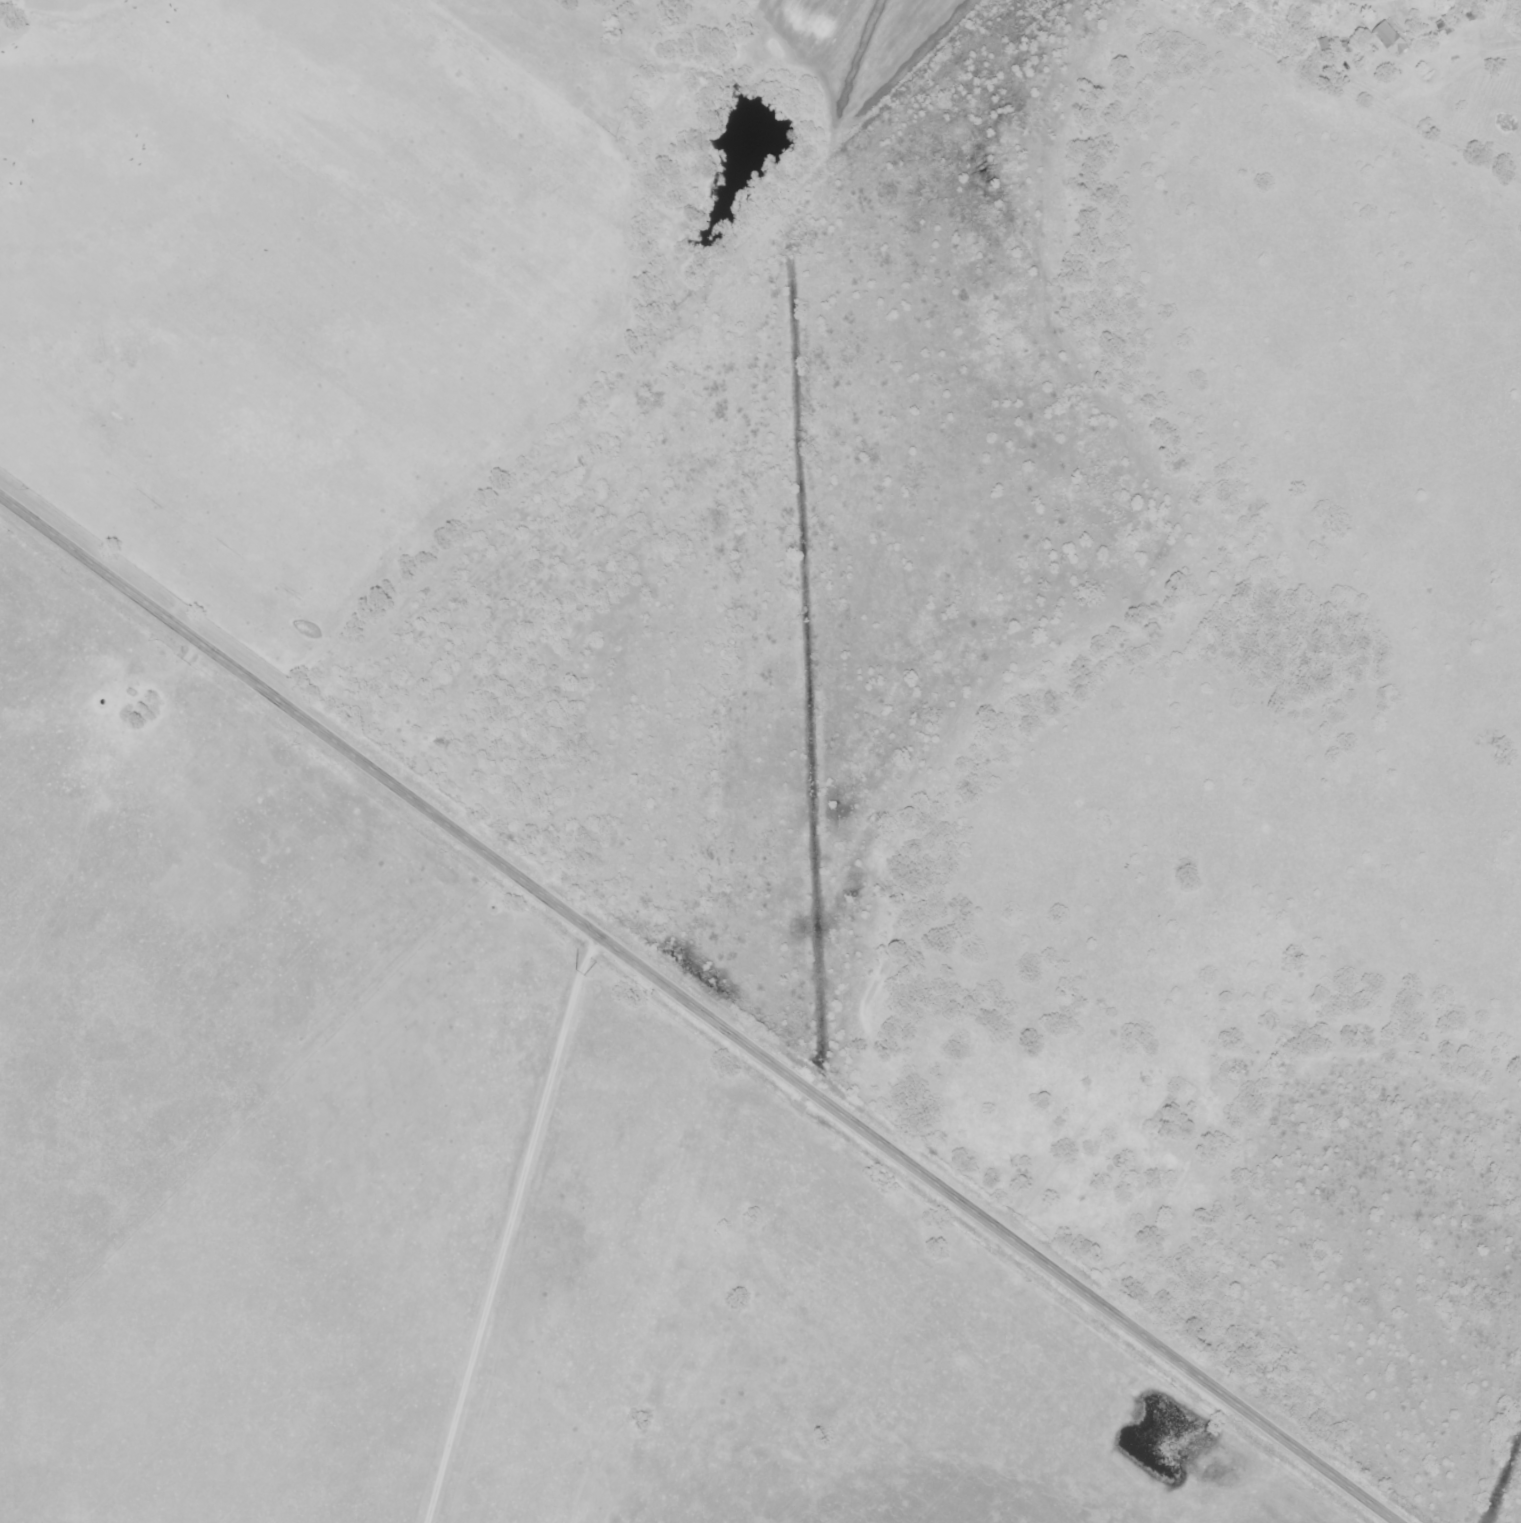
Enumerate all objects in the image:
building: (1390, 40)
road: (1479, 61)
road: (698, 1010)

